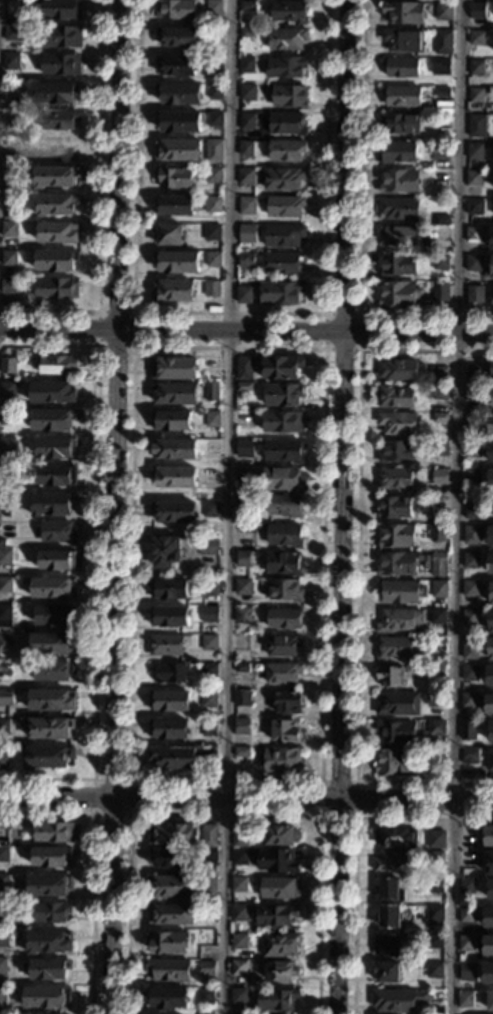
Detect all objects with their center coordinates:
building: (247, 6)
building: (214, 7)
building: (11, 8)
building: (60, 9)
building: (175, 9)
building: (443, 11)
building: (477, 11)
building: (289, 12)
building: (404, 12)
building: (9, 21)
building: (11, 33)
building: (248, 33)
building: (61, 37)
building: (179, 37)
building: (476, 37)
building: (287, 39)
building: (403, 41)
building: (443, 42)
building: (10, 61)
building: (214, 64)
building: (247, 64)
building: (60, 65)
building: (177, 66)
building: (285, 67)
building: (401, 67)
building: (441, 67)
building: (476, 67)
building: (215, 91)
building: (56, 92)
building: (247, 92)
building: (442, 92)
building: (178, 93)
building: (476, 95)
building: (402, 96)
building: (289, 97)
building: (488, 111)
building: (59, 119)
building: (215, 119)
building: (178, 121)
building: (247, 121)
building: (286, 124)
building: (400, 124)
building: (443, 124)
building: (476, 126)
building: (246, 148)
building: (176, 150)
building: (286, 150)
building: (214, 151)
building: (475, 151)
building: (399, 152)
building: (440, 157)
building: (426, 167)
building: (9, 173)
building: (213, 176)
building: (246, 176)
building: (54, 177)
building: (174, 177)
building: (474, 178)
building: (284, 179)
building: (400, 181)
road: (99, 204)
building: (54, 205)
building: (212, 205)
building: (173, 206)
building: (247, 206)
building: (285, 206)
building: (475, 207)
building: (399, 209)
building: (442, 220)
road: (360, 224)
building: (7, 229)
building: (57, 232)
building: (212, 233)
building: (247, 233)
building: (169, 234)
building: (441, 234)
building: (473, 234)
building: (399, 235)
building: (283, 236)
building: (491, 239)
building: (8, 258)
building: (213, 259)
building: (56, 260)
building: (246, 260)
building: (176, 262)
building: (441, 262)
building: (283, 263)
building: (473, 263)
building: (398, 265)
building: (491, 267)
building: (8, 286)
building: (56, 288)
building: (211, 289)
building: (173, 291)
building: (440, 292)
building: (280, 293)
building: (475, 294)
building: (243, 295)
building: (399, 295)
building: (492, 300)
road: (98, 312)
road: (229, 313)
road: (325, 314)
road: (246, 331)
road: (134, 347)
building: (56, 365)
building: (7, 366)
building: (281, 367)
building: (244, 368)
building: (174, 369)
building: (211, 369)
building: (401, 371)
building: (492, 372)
building: (473, 374)
building: (439, 375)
building: (244, 387)
building: (6, 389)
building: (211, 392)
building: (52, 393)
building: (439, 393)
building: (176, 394)
building: (472, 394)
building: (283, 395)
building: (395, 397)
building: (492, 397)
road: (340, 401)
building: (7, 416)
building: (243, 418)
building: (439, 418)
building: (212, 419)
building: (51, 420)
building: (171, 421)
building: (282, 422)
building: (397, 423)
building: (472, 423)
building: (490, 424)
building: (7, 445)
building: (211, 447)
building: (55, 448)
building: (244, 448)
building: (439, 448)
building: (174, 449)
building: (472, 450)
building: (283, 451)
building: (395, 451)
building: (490, 452)
building: (427, 472)
building: (6, 474)
building: (243, 474)
building: (56, 475)
building: (173, 477)
building: (439, 477)
building: (471, 477)
building: (210, 479)
building: (395, 479)
building: (282, 480)
building: (490, 480)
building: (6, 500)
building: (244, 503)
building: (52, 505)
road: (113, 506)
road: (226, 506)
building: (283, 506)
road: (455, 506)
building: (393, 508)
building: (210, 509)
building: (471, 509)
building: (173, 511)
building: (5, 513)
building: (9, 527)
building: (246, 528)
building: (57, 532)
building: (437, 533)
building: (284, 535)
building: (471, 535)
building: (395, 536)
building: (490, 537)
building: (207, 546)
building: (165, 551)
building: (5, 557)
building: (243, 559)
road: (95, 560)
building: (56, 561)
building: (470, 561)
building: (282, 564)
building: (396, 564)
building: (438, 564)
building: (490, 564)
road: (356, 569)
building: (5, 585)
building: (211, 586)
building: (242, 587)
building: (52, 589)
building: (168, 589)
building: (438, 589)
building: (470, 589)
building: (283, 590)
building: (401, 592)
building: (490, 594)
building: (209, 614)
building: (242, 615)
building: (4, 616)
building: (54, 616)
building: (169, 616)
building: (437, 617)
building: (469, 617)
building: (283, 619)
building: (399, 620)
building: (490, 622)
building: (208, 642)
building: (5, 643)
building: (50, 644)
building: (165, 645)
building: (282, 645)
building: (394, 648)
building: (469, 648)
building: (490, 649)
building: (241, 667)
building: (5, 669)
building: (53, 671)
building: (208, 671)
building: (437, 671)
building: (469, 672)
building: (169, 673)
building: (281, 673)
building: (389, 675)
building: (489, 676)
building: (6, 698)
building: (208, 699)
building: (242, 699)
building: (436, 700)
building: (468, 700)
building: (51, 701)
building: (168, 701)
building: (286, 703)
building: (398, 704)
building: (488, 704)
building: (4, 726)
building: (241, 727)
building: (46, 728)
building: (208, 728)
building: (435, 728)
building: (167, 729)
building: (468, 730)
building: (282, 731)
building: (395, 732)
building: (490, 732)
building: (241, 752)
building: (207, 754)
building: (434, 756)
building: (4, 757)
building: (468, 757)
building: (45, 758)
building: (172, 758)
building: (279, 761)
building: (490, 761)
building: (395, 762)
road: (170, 799)
road: (416, 804)
road: (127, 815)
road: (223, 815)
road: (354, 815)
building: (52, 832)
building: (171, 835)
building: (6, 836)
building: (208, 836)
building: (279, 836)
building: (487, 836)
building: (394, 837)
building: (466, 838)
building: (239, 839)
building: (435, 839)
road: (353, 845)
building: (3, 854)
building: (436, 856)
building: (50, 857)
building: (208, 857)
building: (239, 857)
building: (168, 858)
building: (466, 859)
building: (394, 861)
building: (277, 862)
building: (488, 862)
road: (92, 868)
building: (6, 882)
building: (207, 885)
building: (238, 885)
building: (48, 886)
building: (435, 886)
building: (466, 886)
building: (171, 887)
building: (279, 889)
building: (490, 889)
building: (388, 890)
road: (338, 909)
building: (6, 910)
building: (208, 911)
building: (49, 912)
building: (238, 913)
building: (434, 914)
building: (466, 914)
building: (170, 915)
building: (275, 916)
building: (389, 917)
building: (487, 918)
building: (12, 935)
building: (3, 939)
building: (238, 941)
building: (434, 941)
building: (47, 942)
building: (167, 943)
building: (466, 944)
building: (279, 945)
building: (386, 945)
building: (488, 946)
building: (2, 966)
building: (238, 968)
building: (46, 969)
building: (206, 969)
building: (168, 970)
building: (279, 971)
building: (434, 971)
building: (386, 972)
building: (467, 972)
building: (487, 973)
building: (2, 997)
building: (238, 997)
building: (45, 998)
building: (166, 998)
building: (205, 998)
building: (276, 1000)
building: (397, 1000)
building: (464, 1000)
building: (489, 1001)

